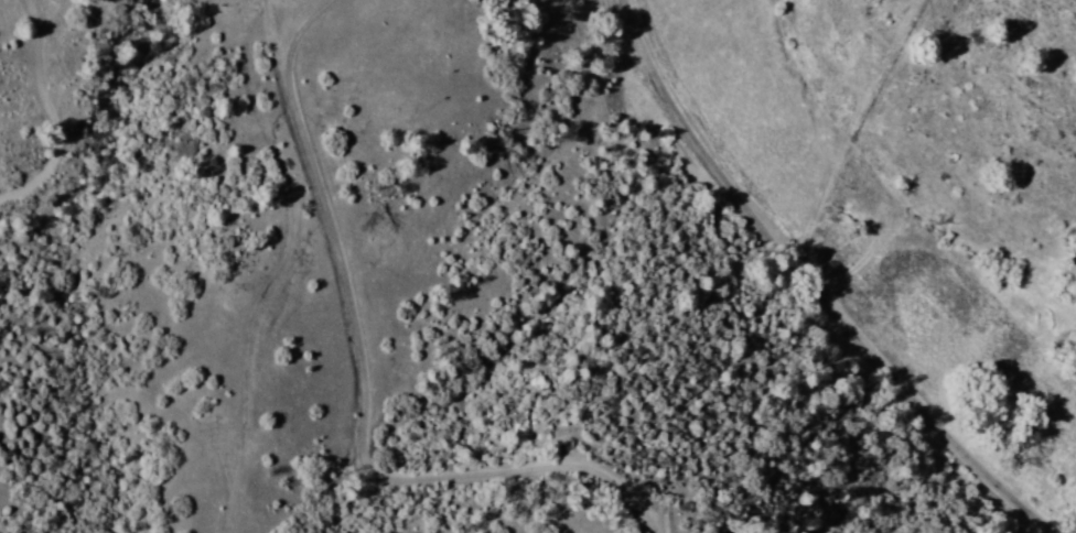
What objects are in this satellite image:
road: (602, 26)
road: (804, 286)
road: (364, 389)

